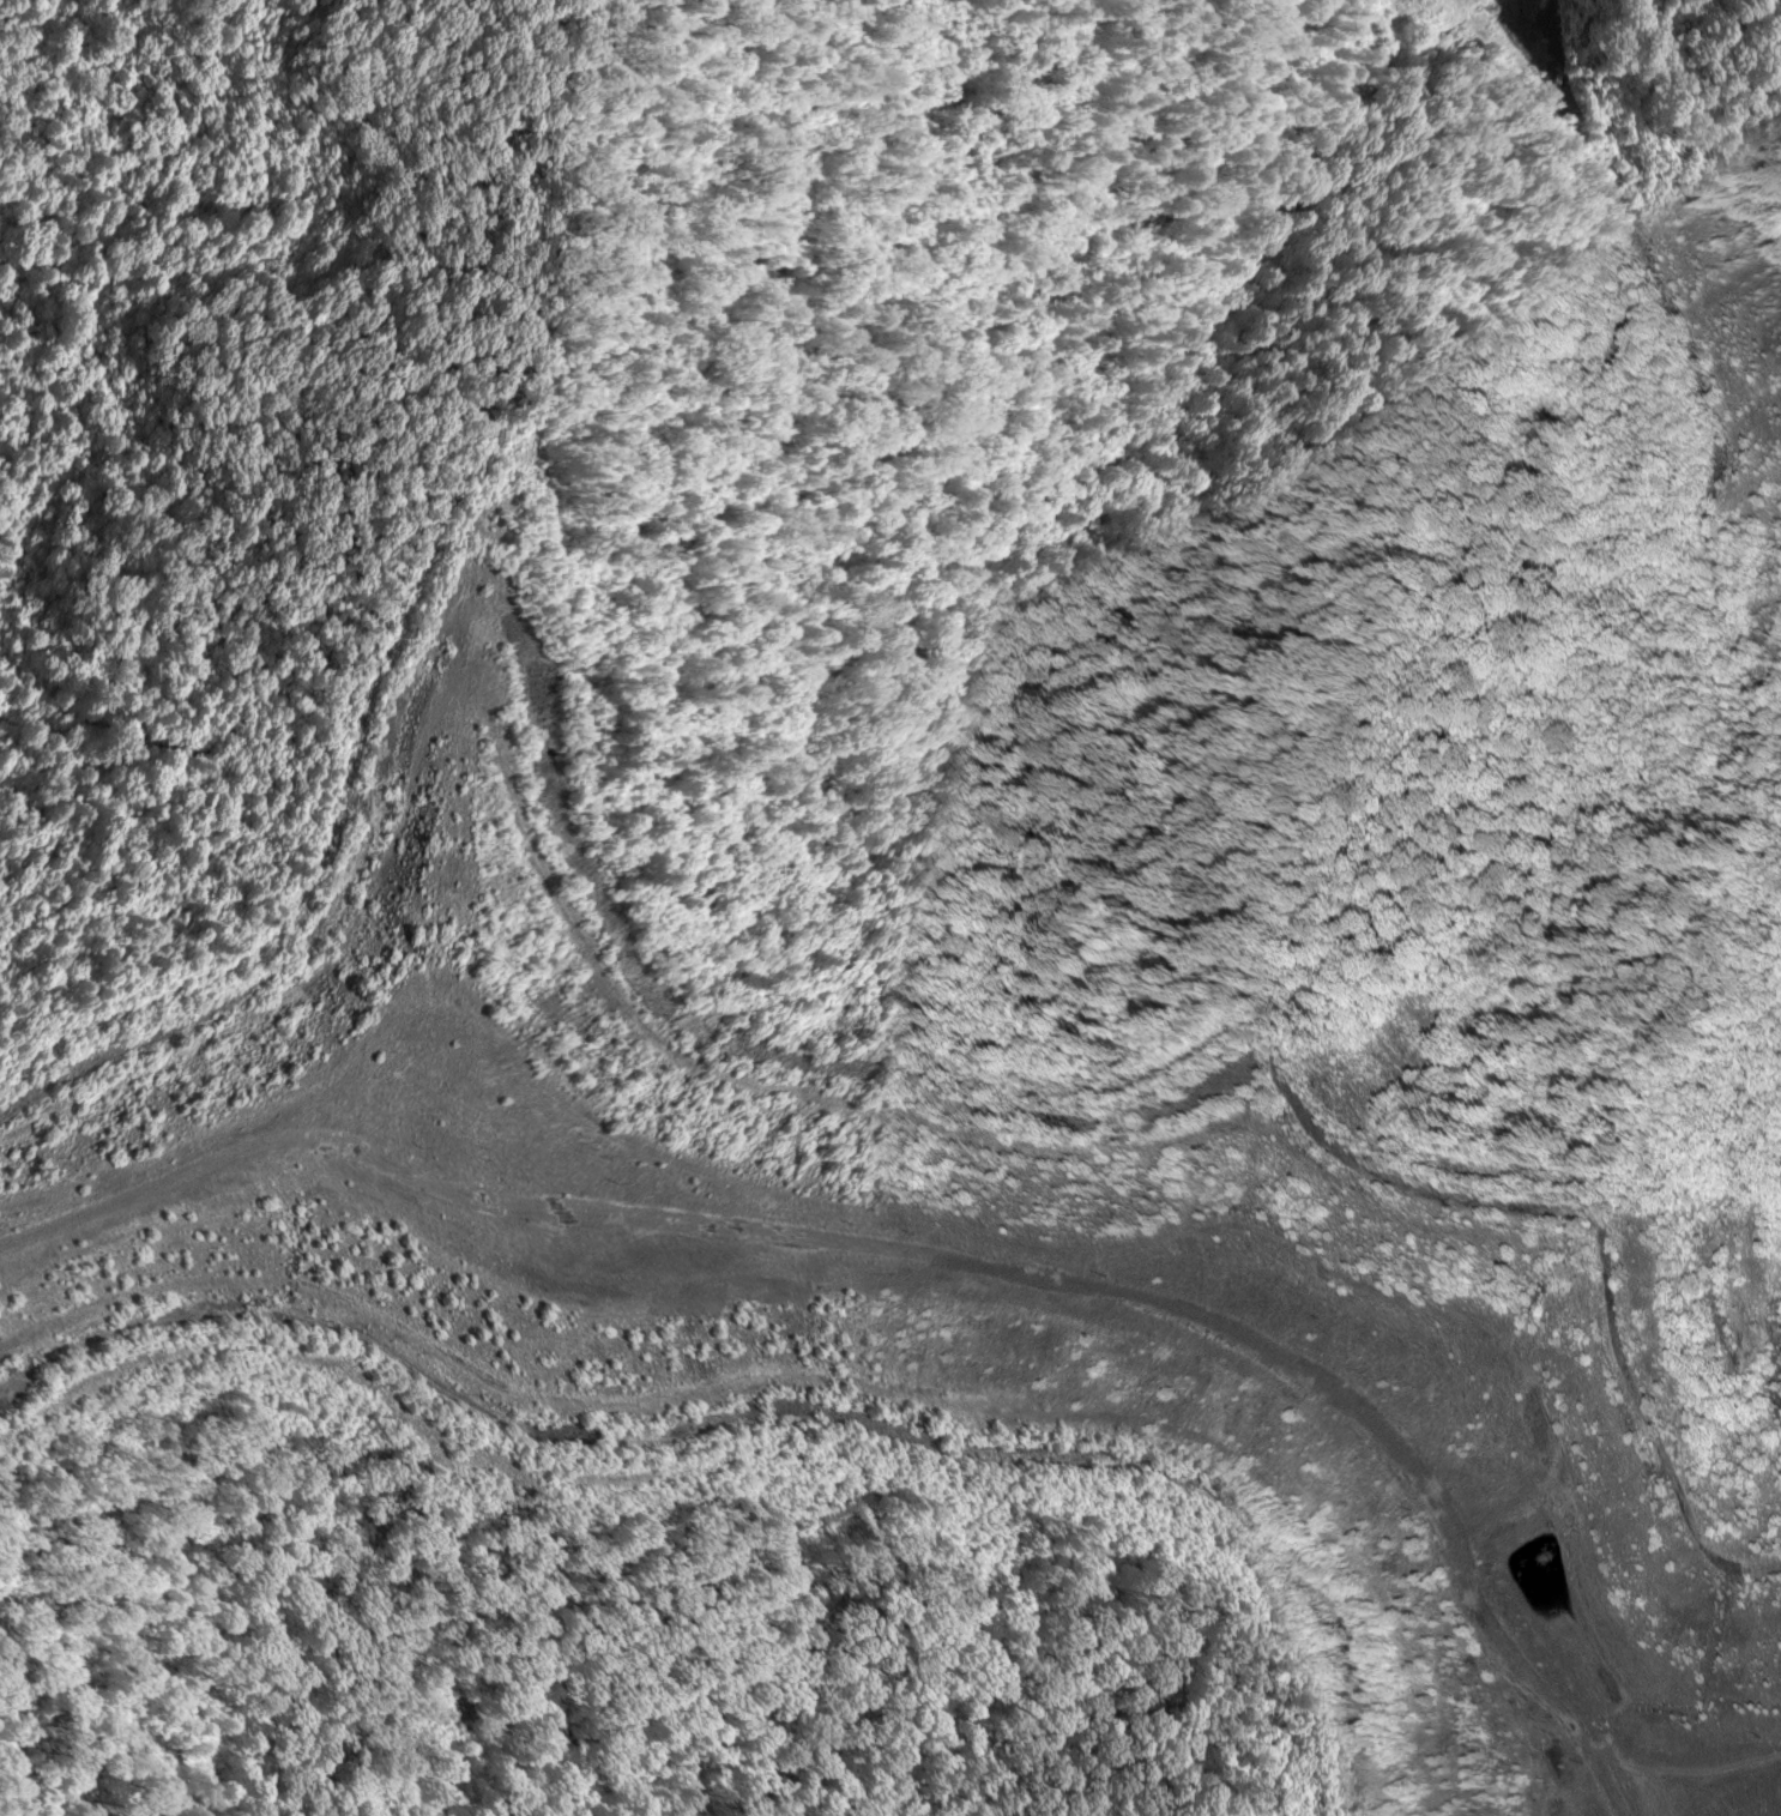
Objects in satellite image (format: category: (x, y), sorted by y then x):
quarry: (1650, 277)
quarry: (914, 1287)

